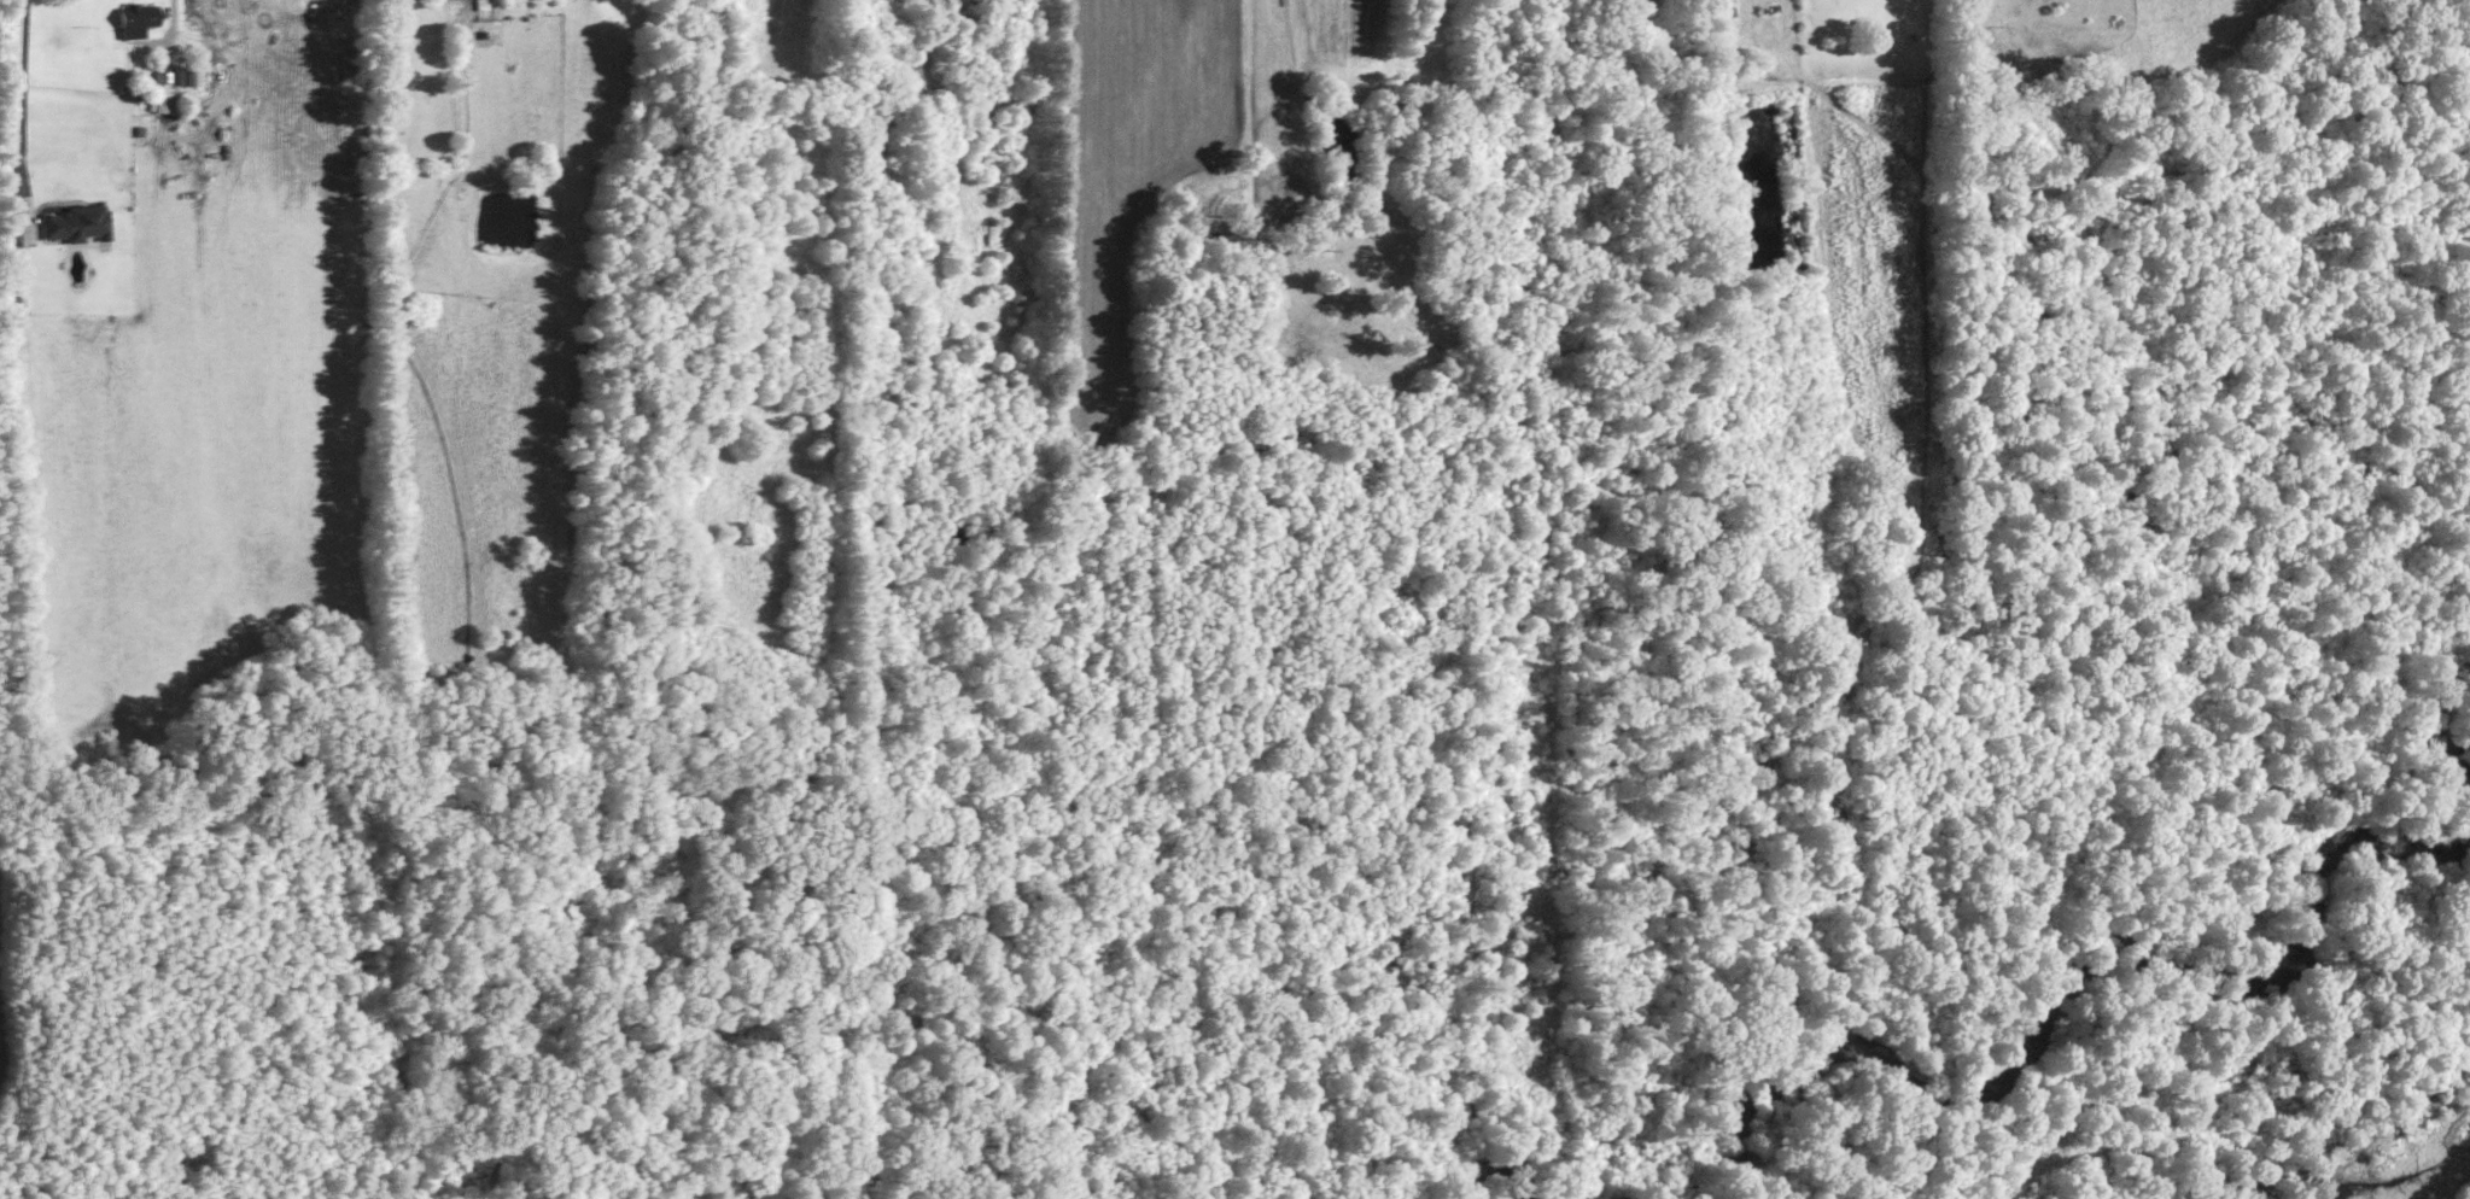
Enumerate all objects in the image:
road: (173, 0)
building: (138, 18)
road: (23, 105)
building: (75, 221)
river: (2440, 706)
river: (2077, 984)
river: (1495, 1171)

